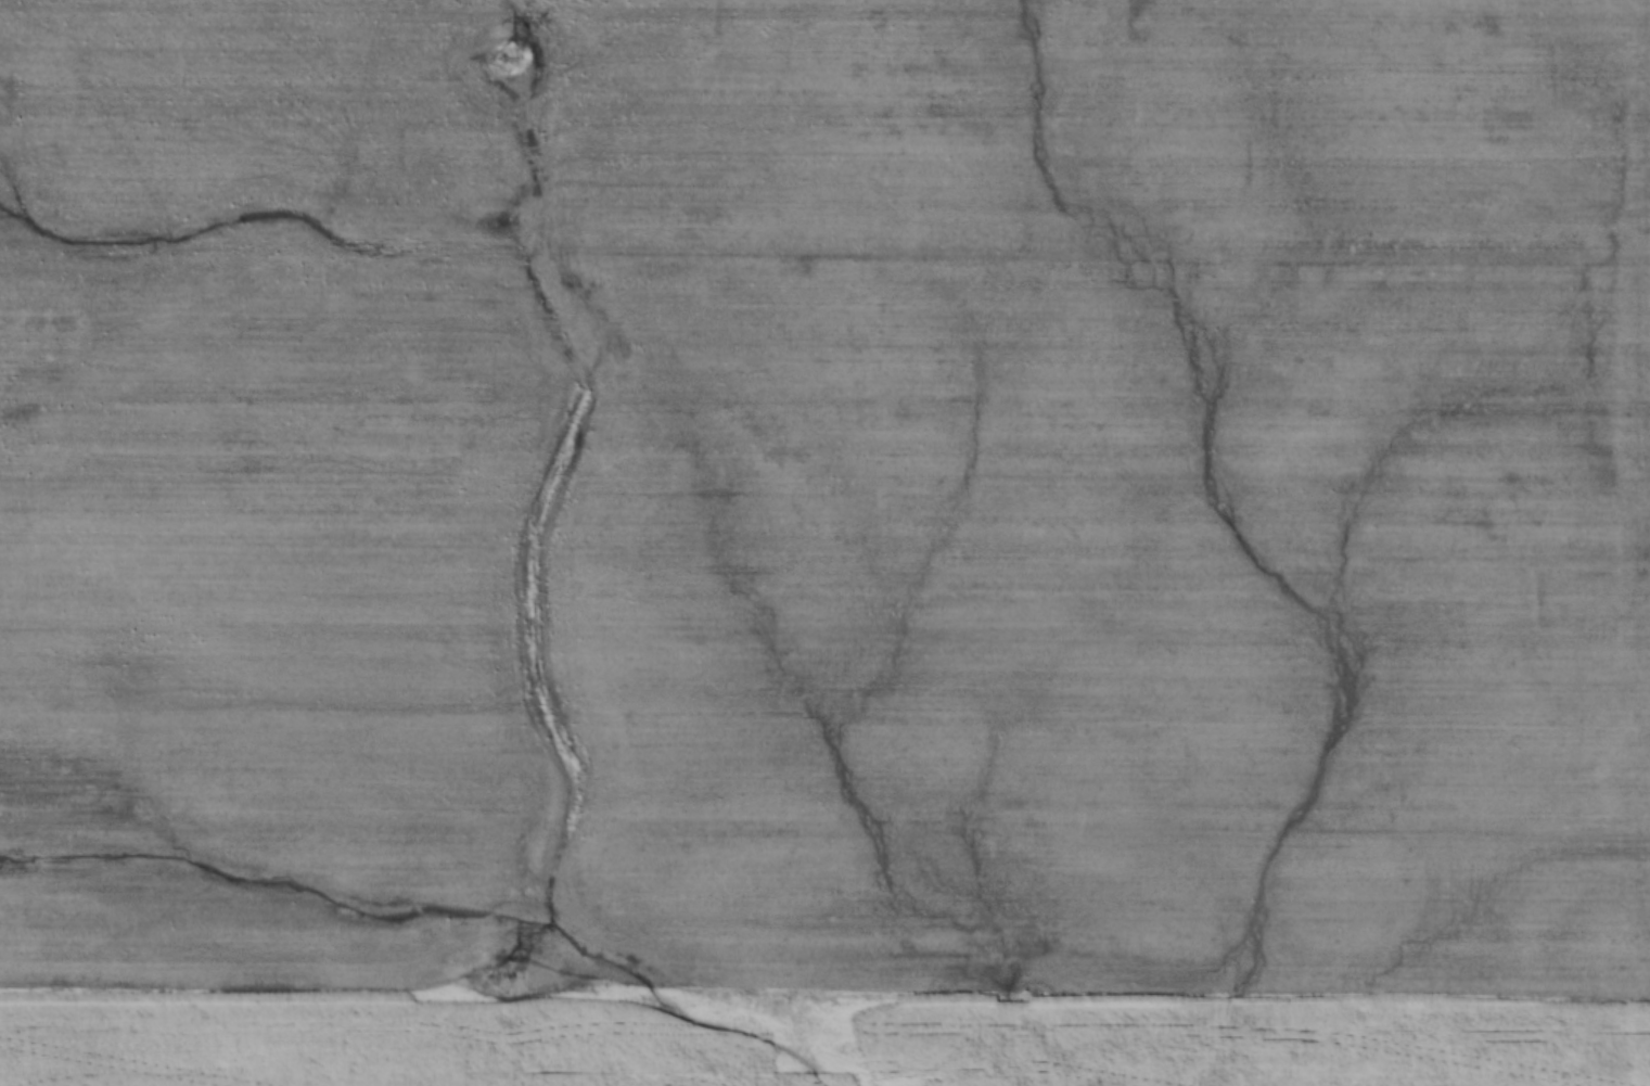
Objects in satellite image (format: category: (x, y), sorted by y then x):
power tower: (510, 59)
power tower: (511, 979)

